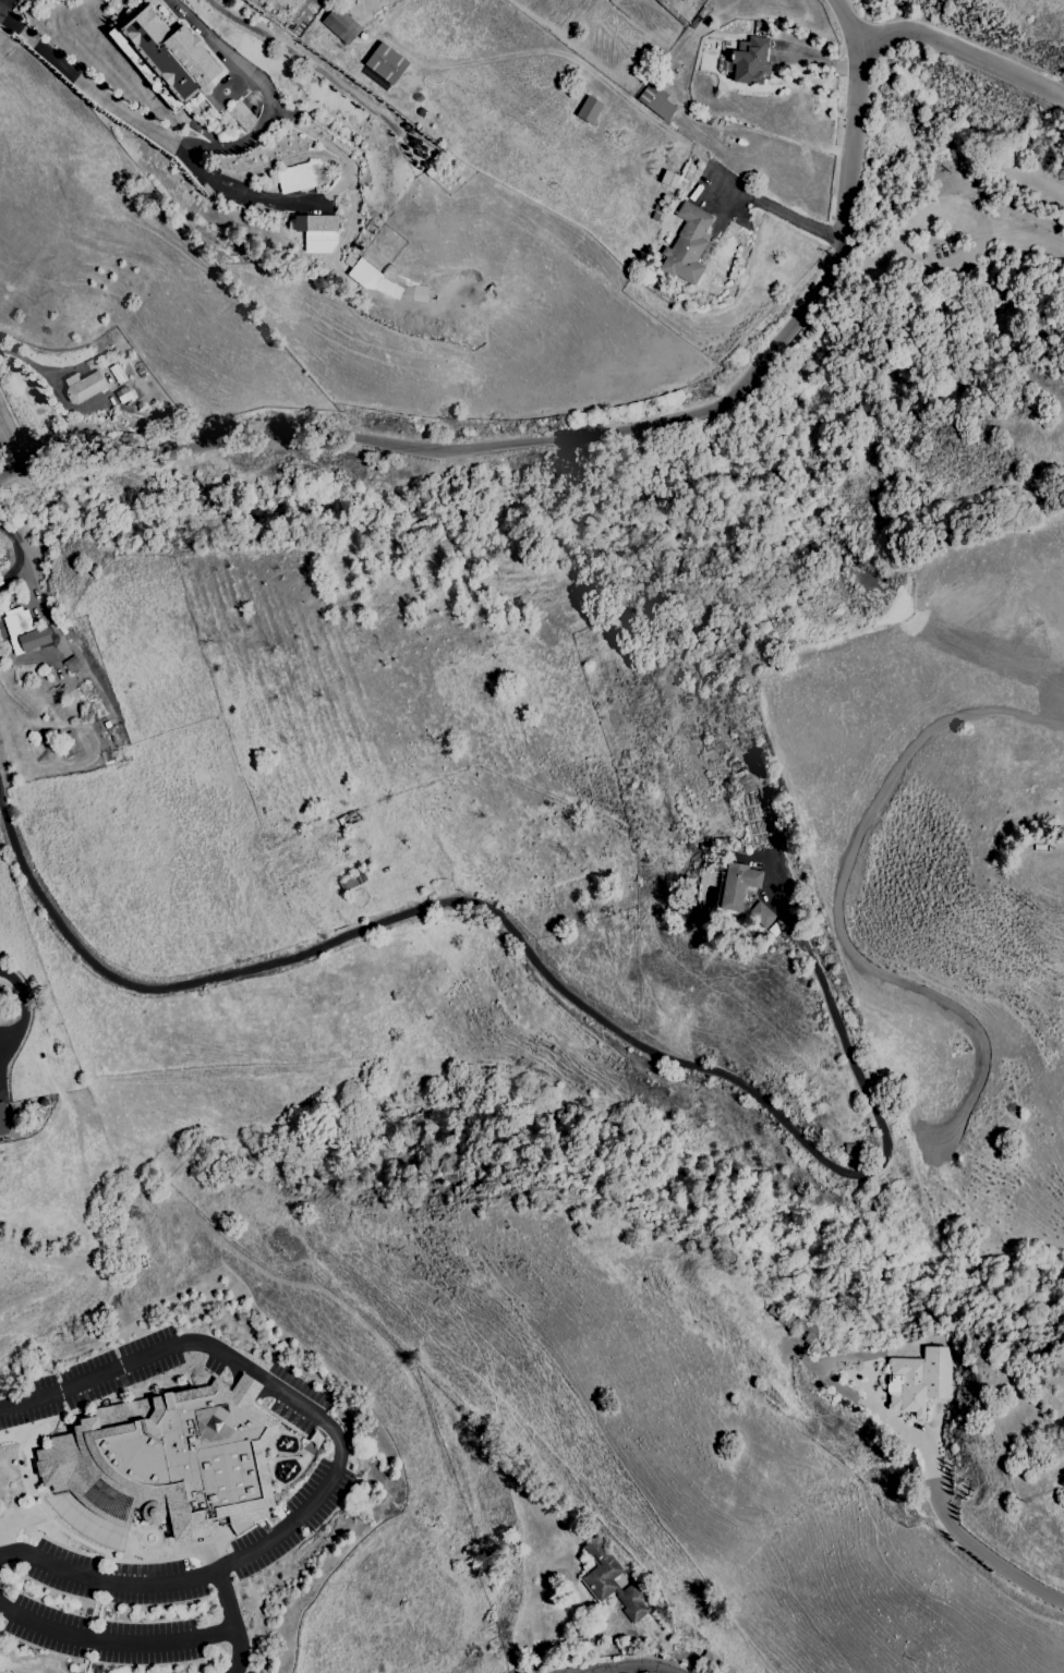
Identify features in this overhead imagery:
road: (5, 5)
road: (965, 50)
building: (751, 61)
road: (266, 90)
building: (655, 100)
building: (588, 110)
road: (680, 141)
road: (725, 177)
road: (278, 204)
road: (801, 222)
building: (314, 225)
building: (687, 245)
road: (24, 360)
building: (83, 388)
road: (107, 390)
road: (596, 438)
road: (12, 439)
road: (21, 558)
building: (24, 630)
building: (737, 885)
road: (159, 990)
road: (23, 1016)
road: (773, 1114)
building: (2, 1120)
building: (791, 1324)
building: (921, 1379)
road: (338, 1457)
building: (169, 1459)
road: (969, 1543)
building: (585, 1563)
building: (610, 1583)
parking lot: (104, 1616)
road: (232, 1624)
road: (113, 1644)
road: (626, 1669)

